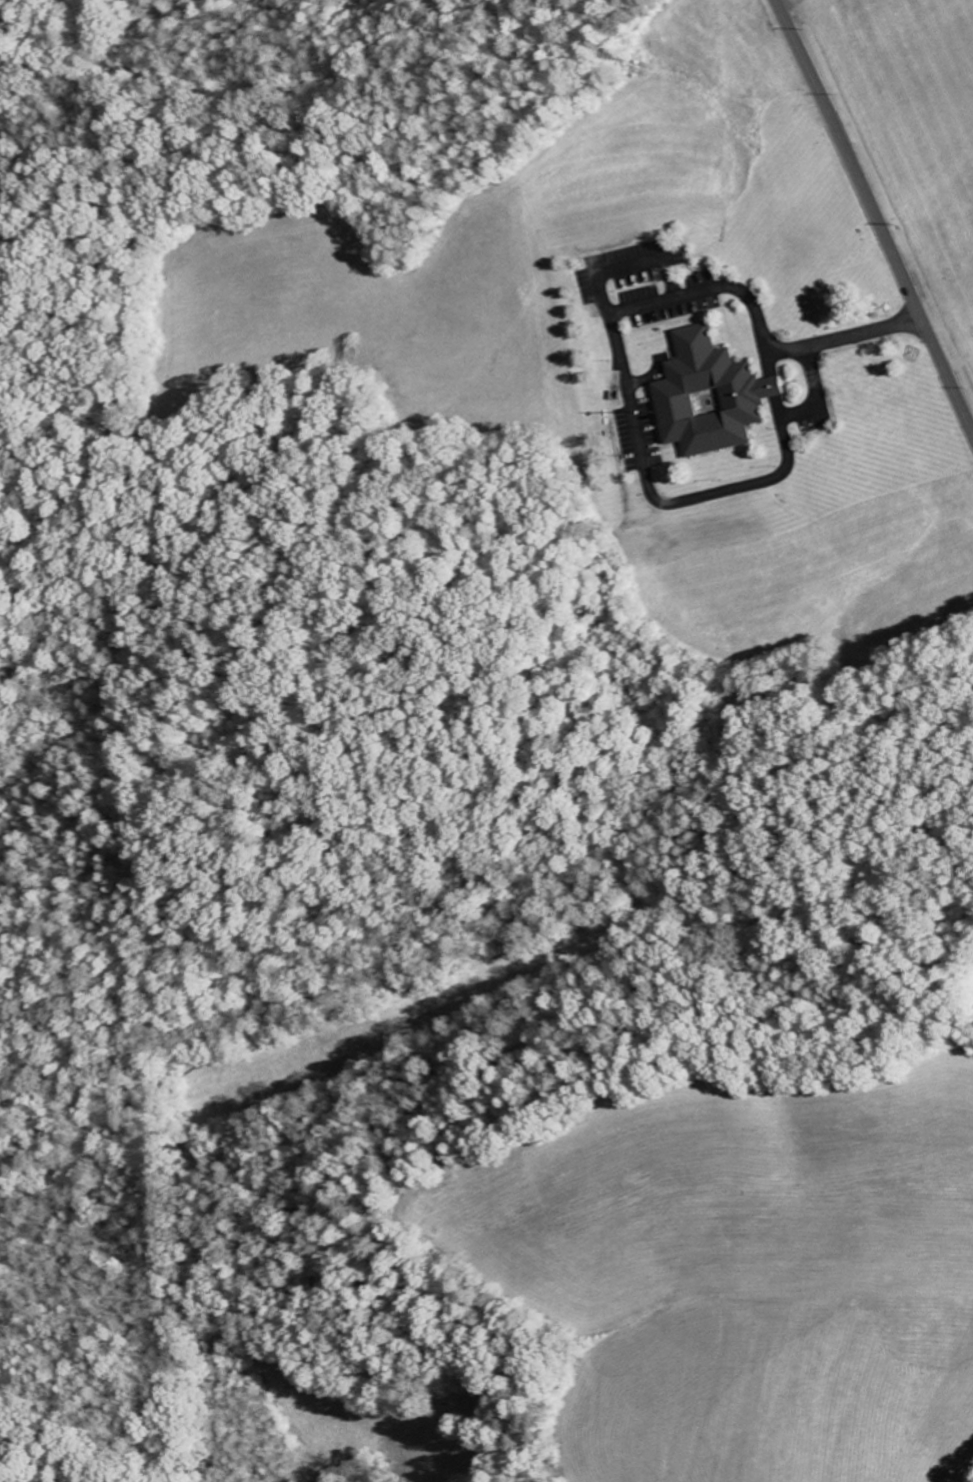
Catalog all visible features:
road: (873, 215)
building: (714, 396)

